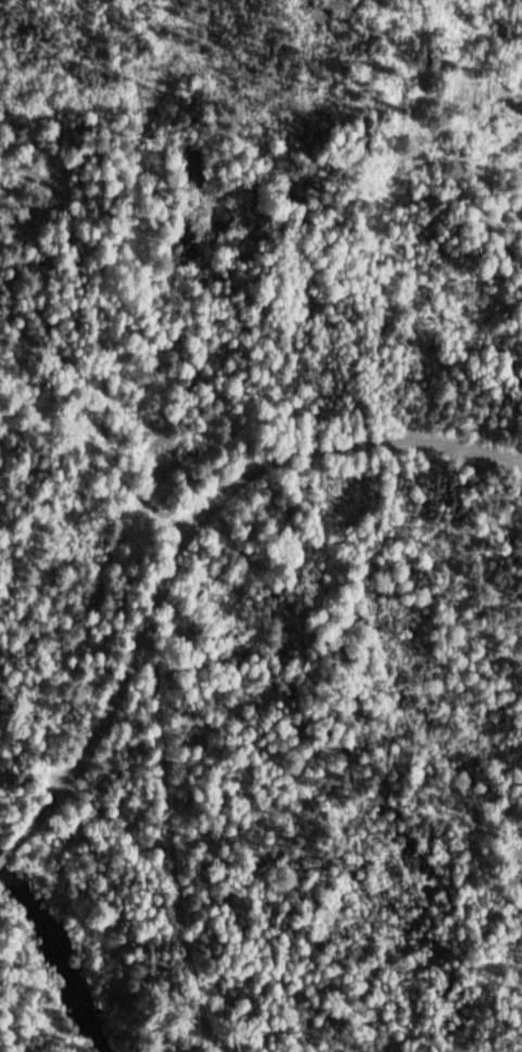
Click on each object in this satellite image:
road: (188, 545)
river: (61, 915)

